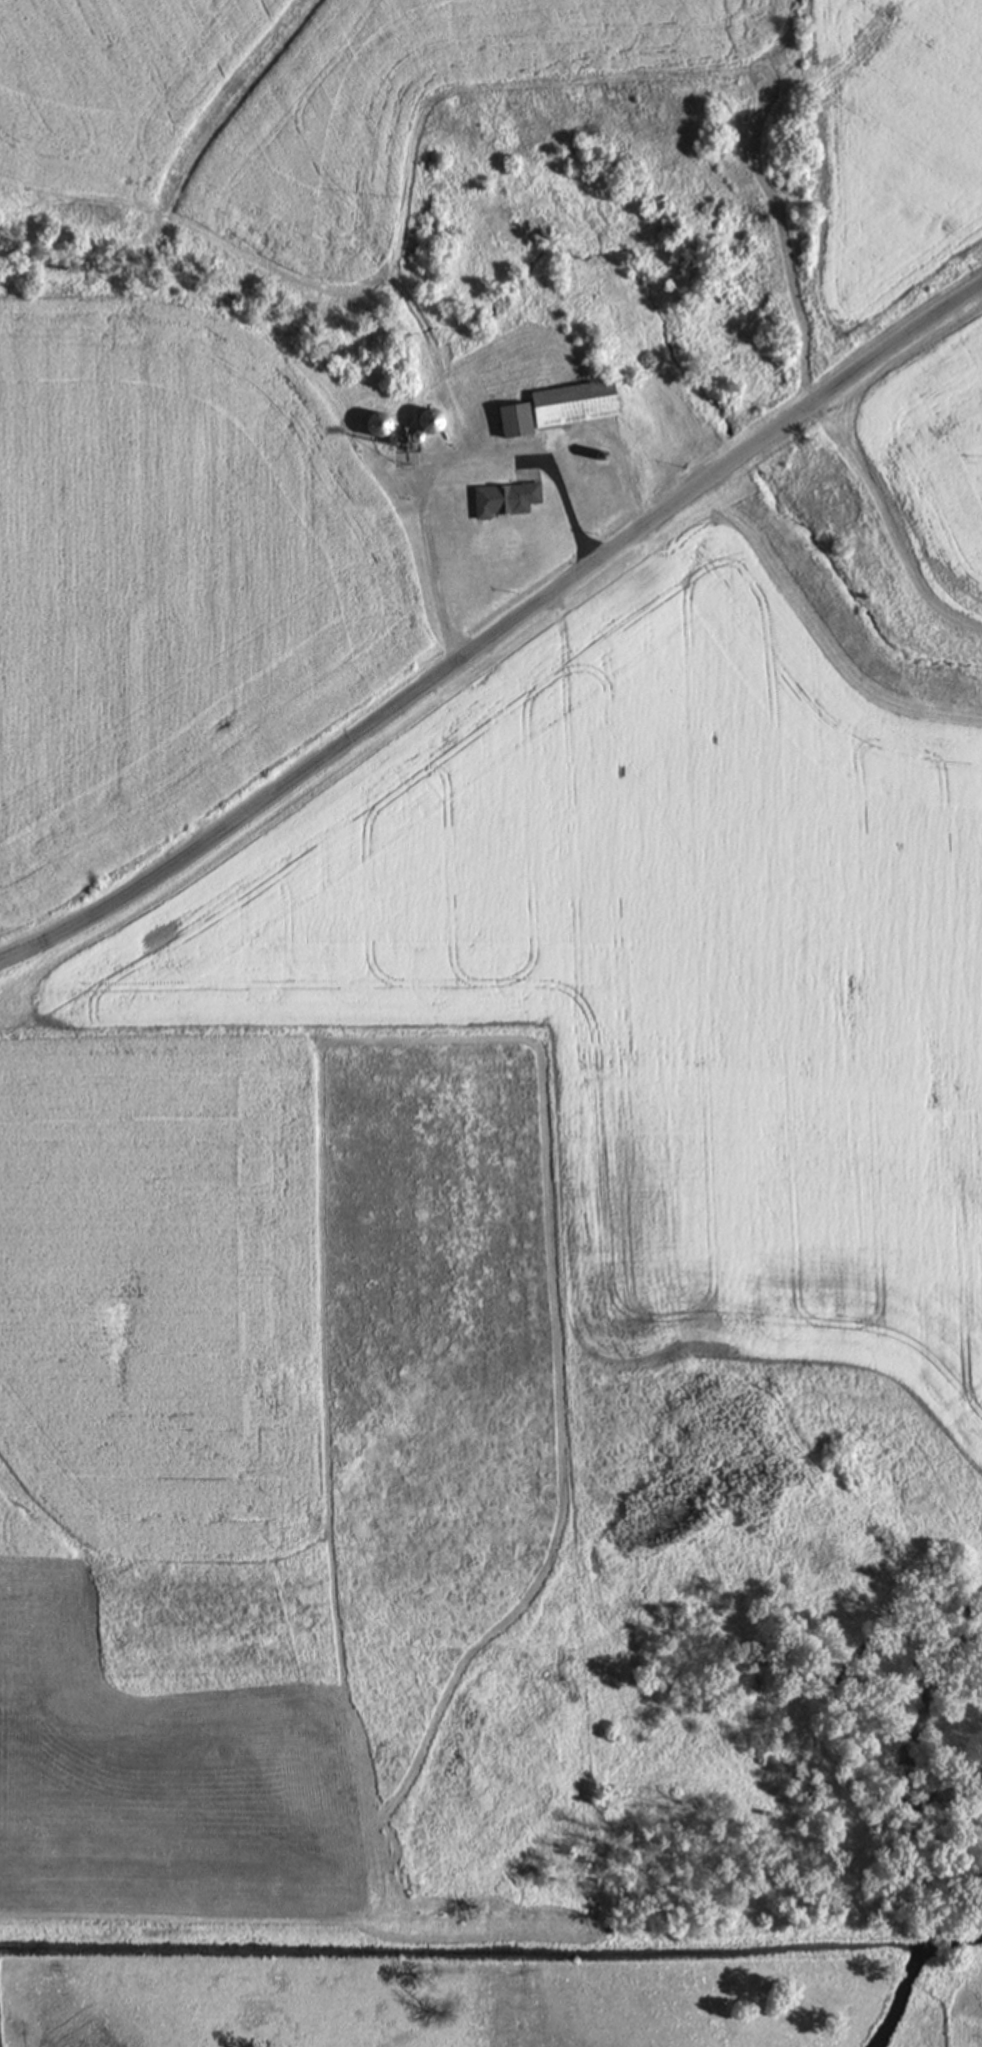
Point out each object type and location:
building: (576, 402)
building: (516, 417)
building: (431, 420)
building: (380, 423)
building: (505, 499)
road: (496, 630)
river: (907, 1970)

